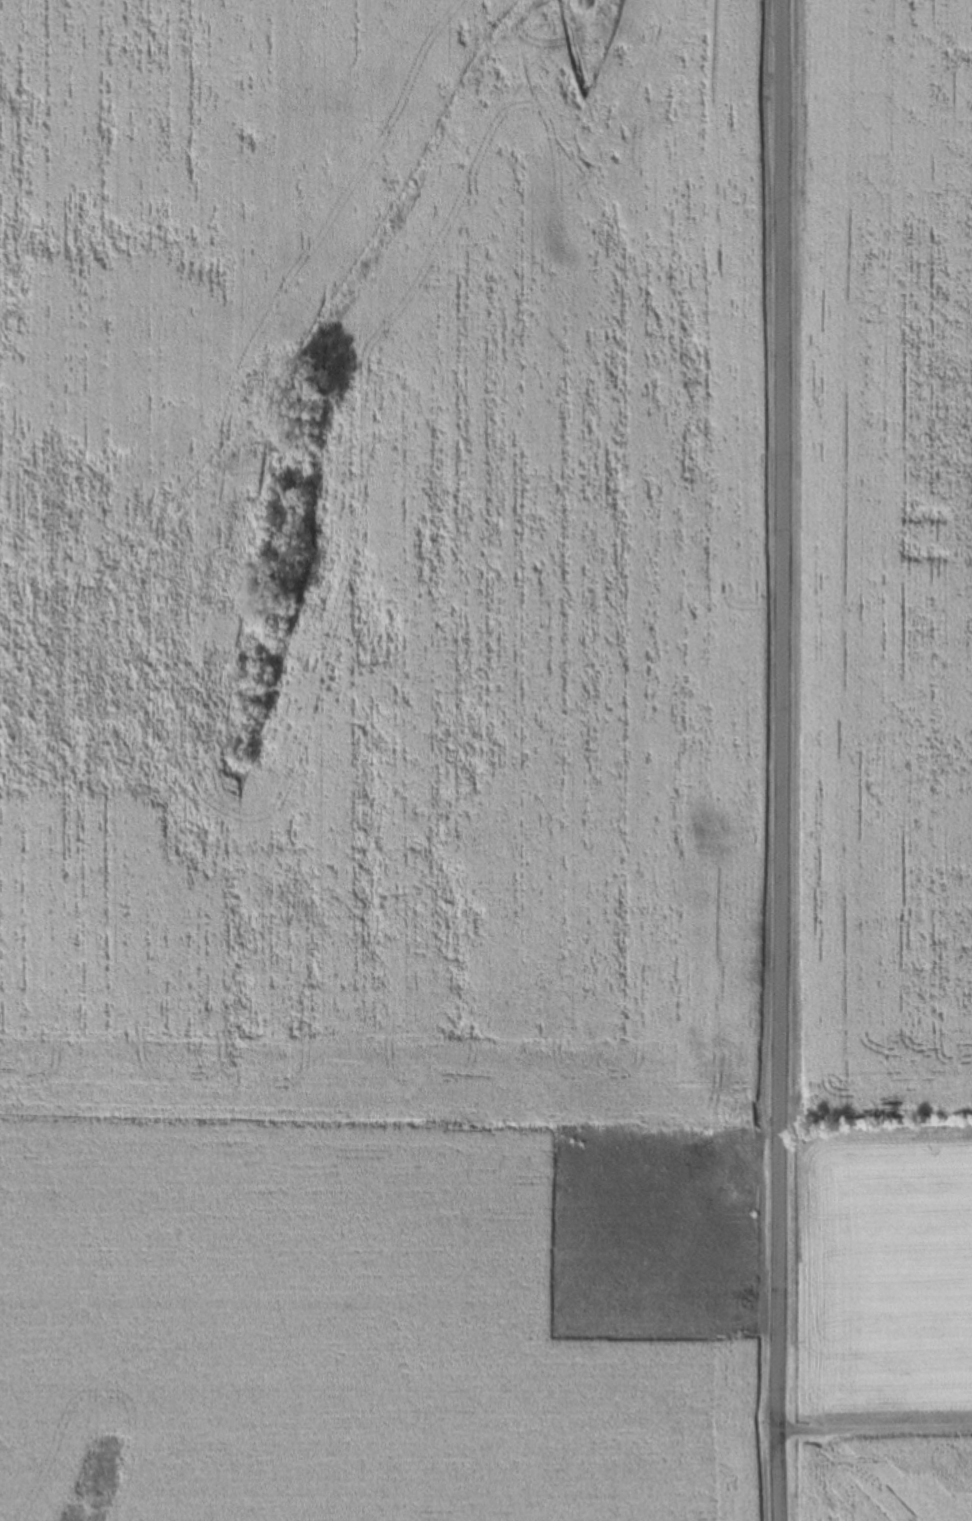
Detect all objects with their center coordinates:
road: (784, 760)
road: (876, 1431)

